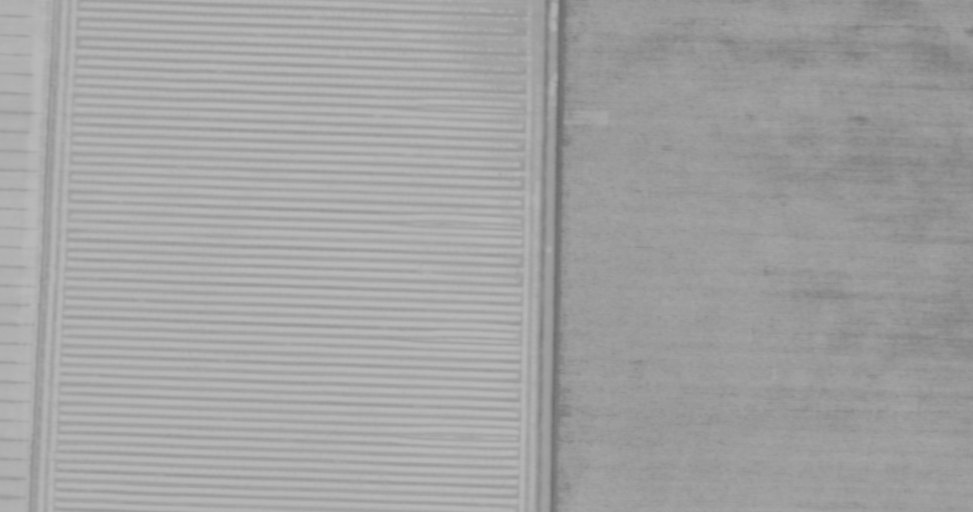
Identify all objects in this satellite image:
crop: (486, 256)
road: (547, 256)

